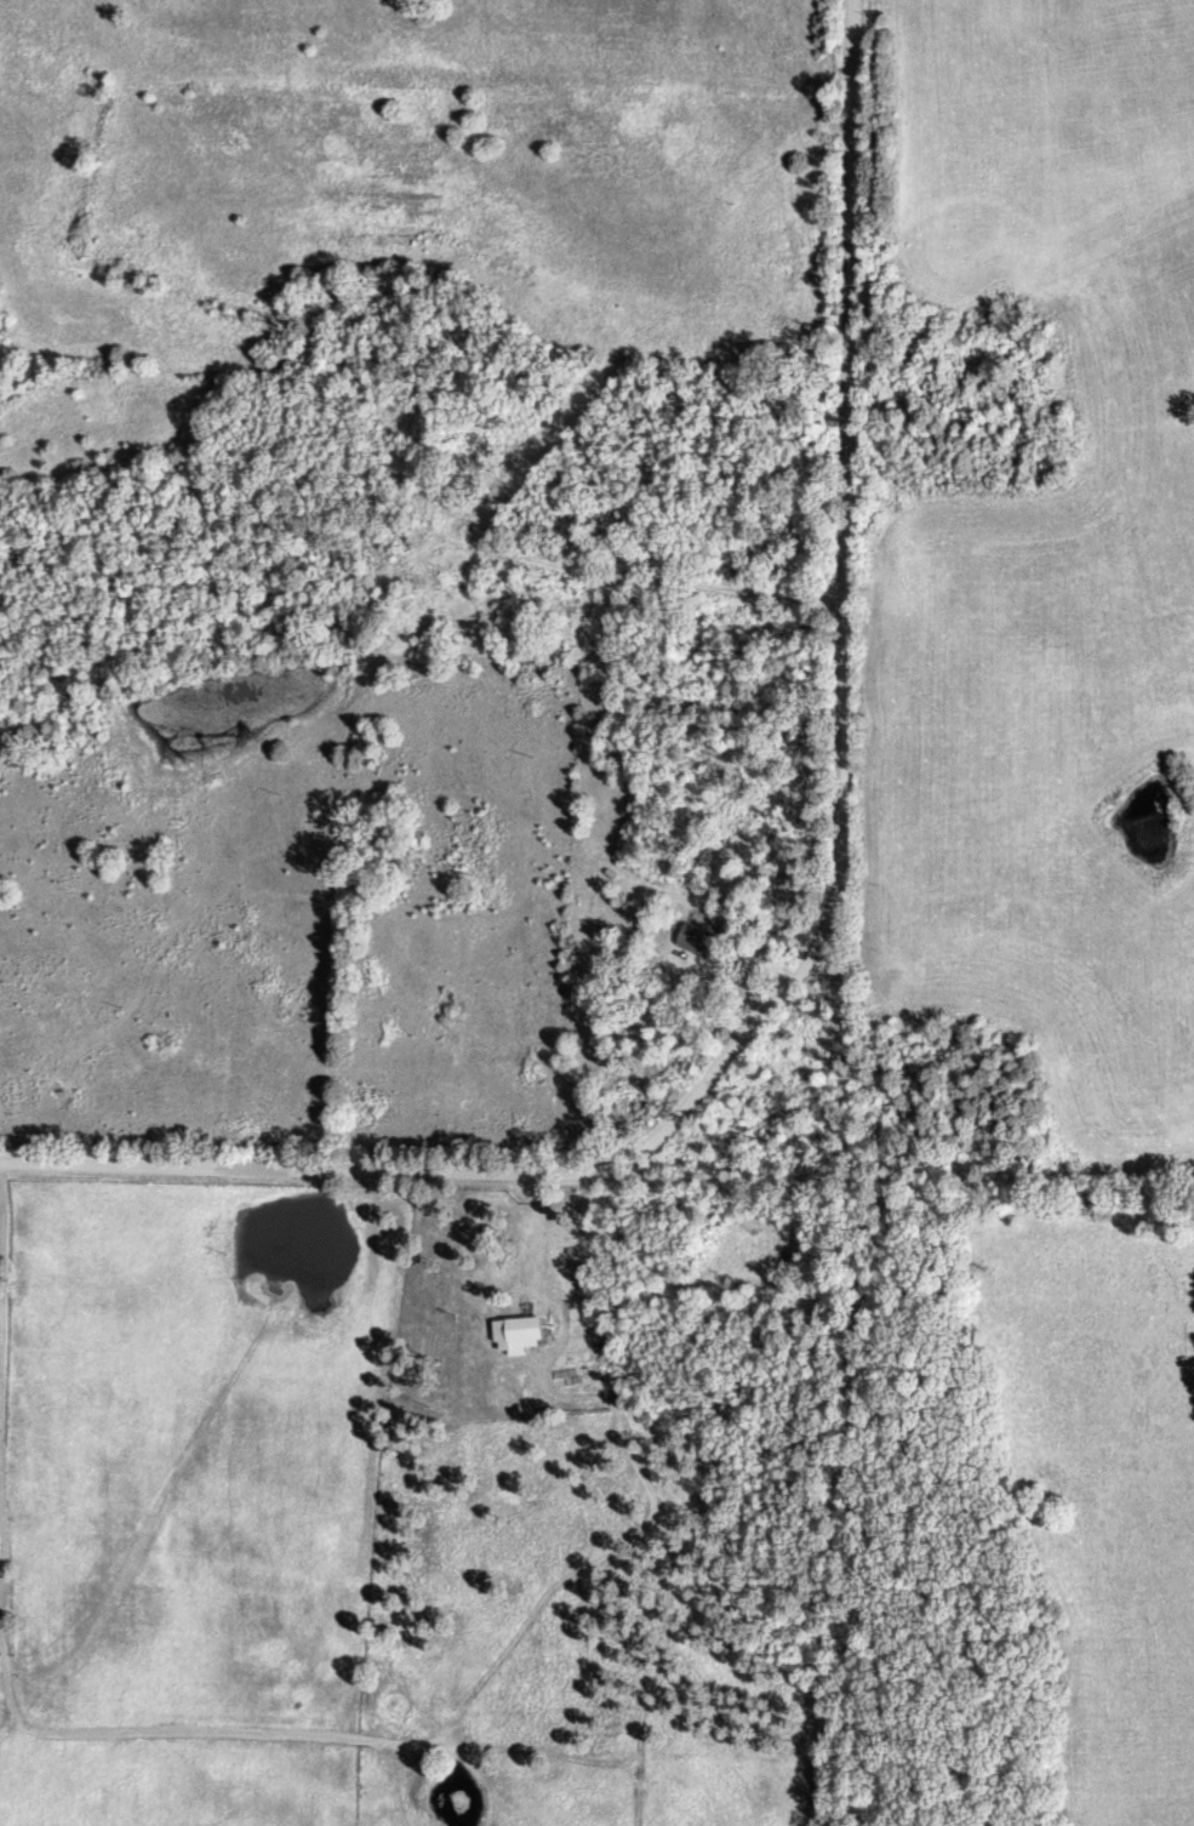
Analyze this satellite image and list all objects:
road: (827, 936)
building: (708, 942)
building: (530, 1334)

